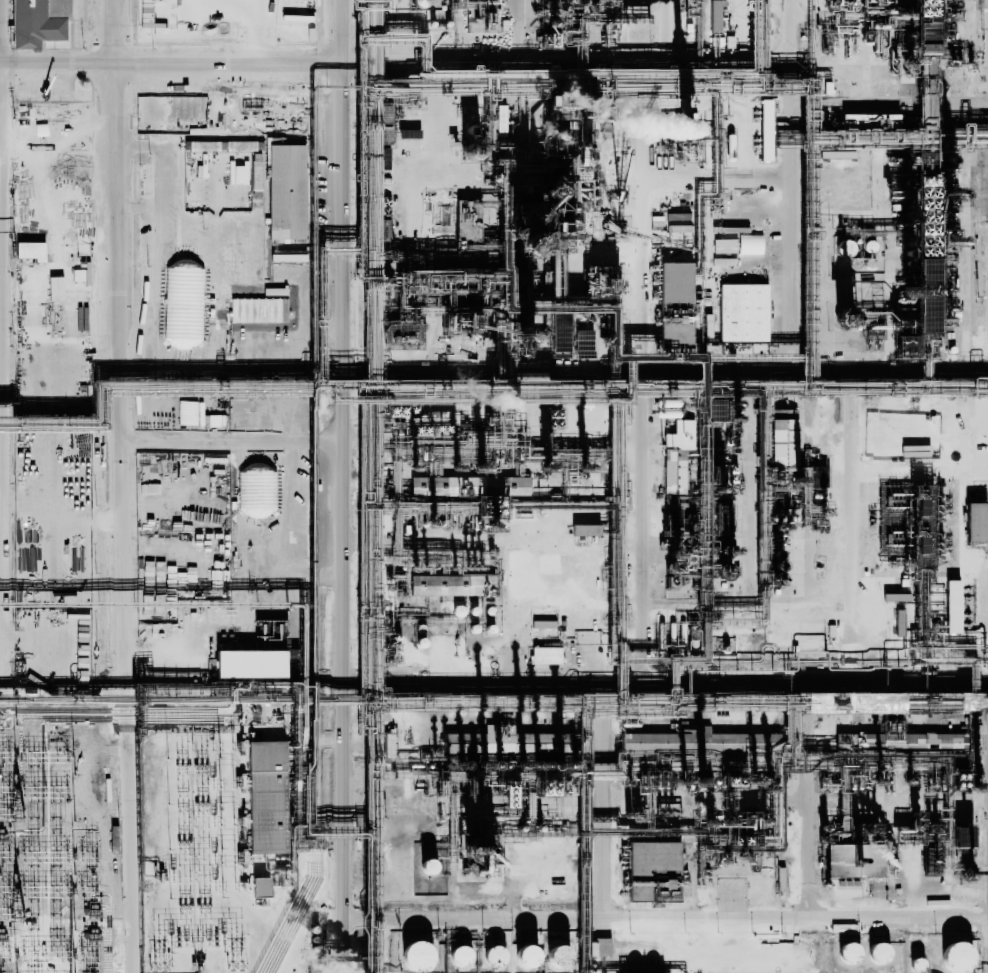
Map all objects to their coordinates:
building: (417, 3)
building: (689, 7)
building: (713, 15)
building: (37, 22)
building: (954, 47)
building: (500, 118)
building: (859, 122)
building: (764, 130)
building: (408, 134)
building: (201, 146)
building: (239, 174)
building: (285, 192)
building: (725, 246)
building: (843, 248)
building: (30, 251)
building: (923, 266)
building: (82, 274)
building: (675, 298)
building: (745, 311)
building: (176, 323)
building: (259, 324)
building: (708, 326)
building: (35, 337)
building: (583, 343)
road: (348, 344)
road: (668, 366)
parking lot: (215, 384)
building: (888, 404)
building: (940, 407)
building: (712, 409)
building: (190, 412)
building: (245, 412)
building: (217, 420)
building: (896, 429)
building: (678, 434)
building: (783, 438)
building: (673, 472)
building: (430, 485)
road: (120, 486)
building: (510, 486)
building: (256, 491)
building: (904, 503)
parking lot: (59, 519)
building: (974, 520)
building: (585, 529)
building: (442, 584)
building: (952, 605)
building: (458, 610)
building: (898, 622)
building: (543, 623)
building: (420, 627)
building: (472, 627)
building: (419, 642)
building: (546, 655)
building: (251, 663)
road: (667, 679)
building: (867, 737)
building: (491, 739)
building: (670, 740)
building: (951, 740)
building: (264, 797)
building: (958, 836)
building: (559, 848)
power substation: (194, 851)
road: (809, 858)
building: (837, 859)
building: (561, 864)
building: (427, 866)
building: (263, 886)
building: (657, 889)
road: (666, 919)
building: (599, 947)
building: (877, 952)
building: (848, 953)
building: (556, 955)
building: (416, 956)
building: (460, 956)
building: (494, 956)
building: (525, 956)
building: (956, 956)
building: (917, 964)

